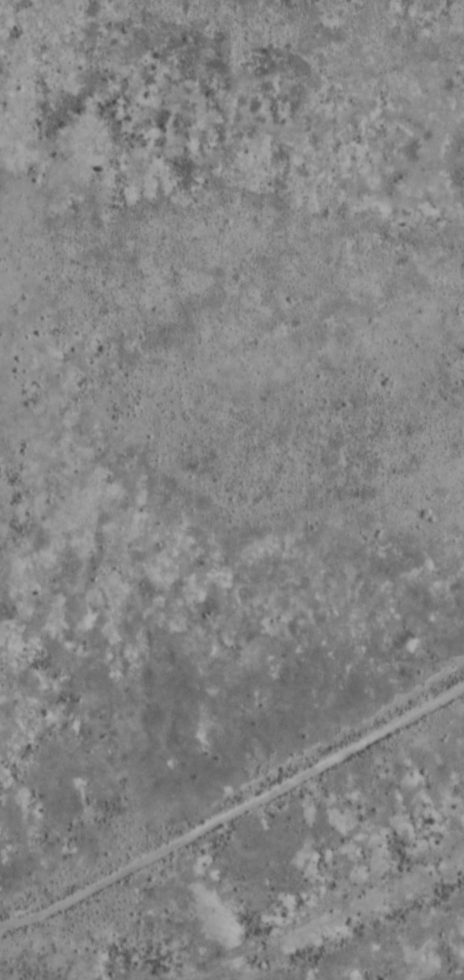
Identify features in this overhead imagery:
road: (234, 808)

